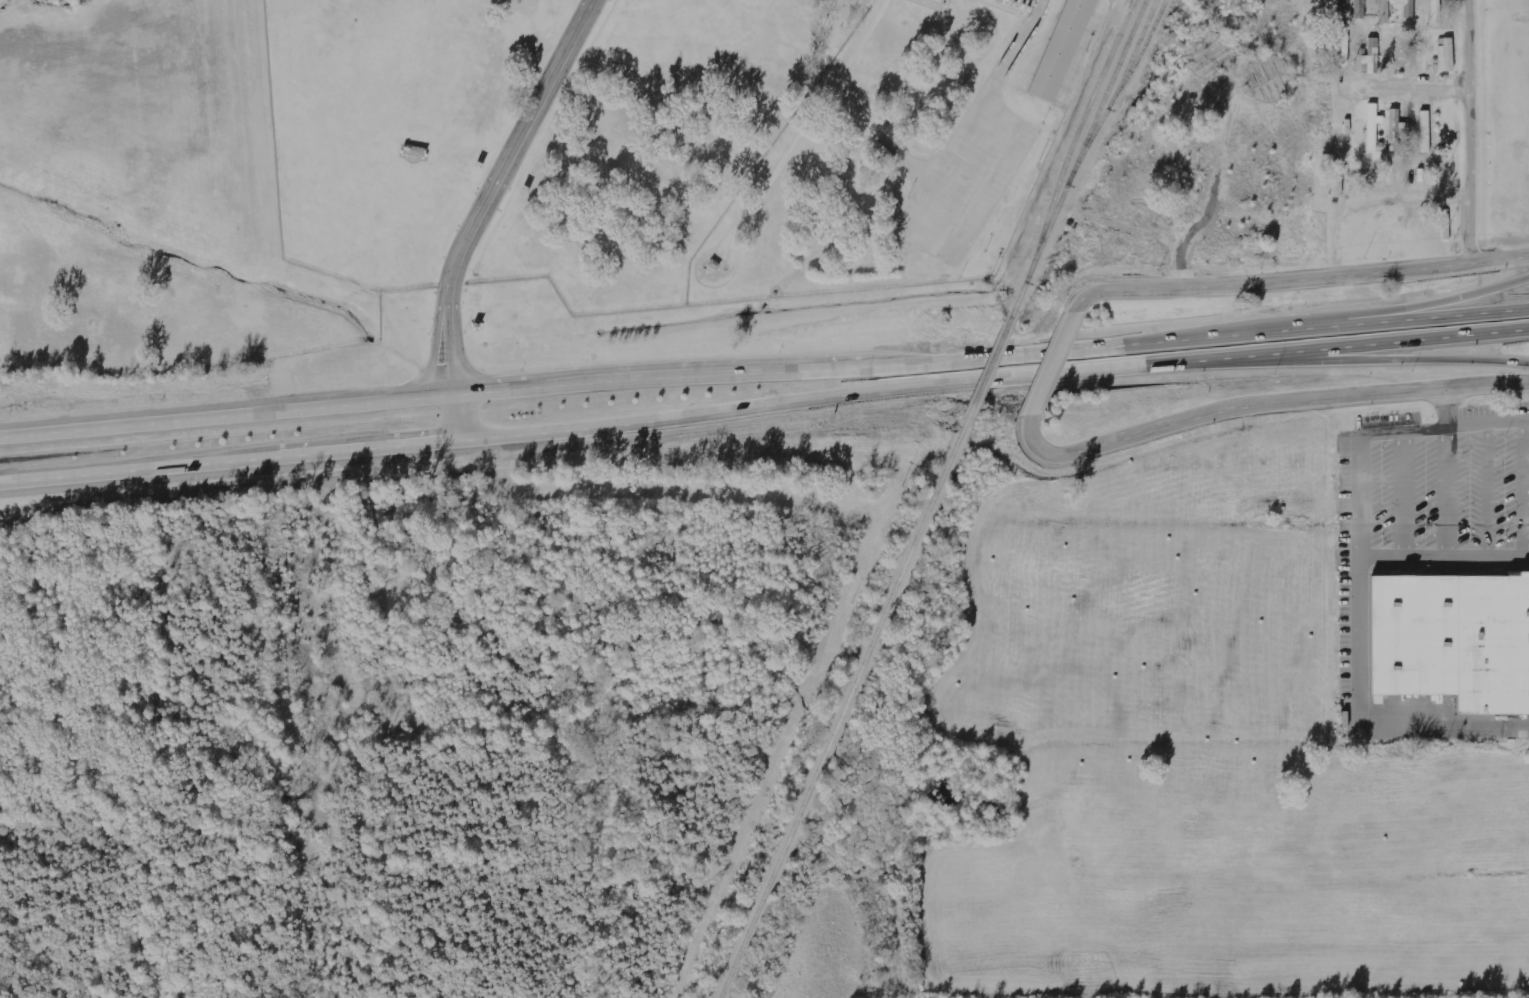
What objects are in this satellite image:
building: (1128, 0)
building: (1434, 0)
building: (1359, 9)
building: (1409, 9)
building: (1383, 11)
building: (1398, 41)
building: (1055, 50)
building: (1344, 50)
building: (1371, 51)
building: (1446, 55)
road: (1406, 87)
building: (1350, 125)
building: (1373, 126)
building: (1395, 129)
building: (1425, 132)
road: (1466, 132)
railway: (1079, 155)
building: (1338, 180)
road: (480, 211)
road: (1298, 281)
road: (1452, 301)
road: (1354, 358)
road: (1053, 364)
railway: (990, 370)
road: (764, 374)
road: (1260, 406)
road: (764, 407)
building: (1452, 641)
railway: (841, 712)

